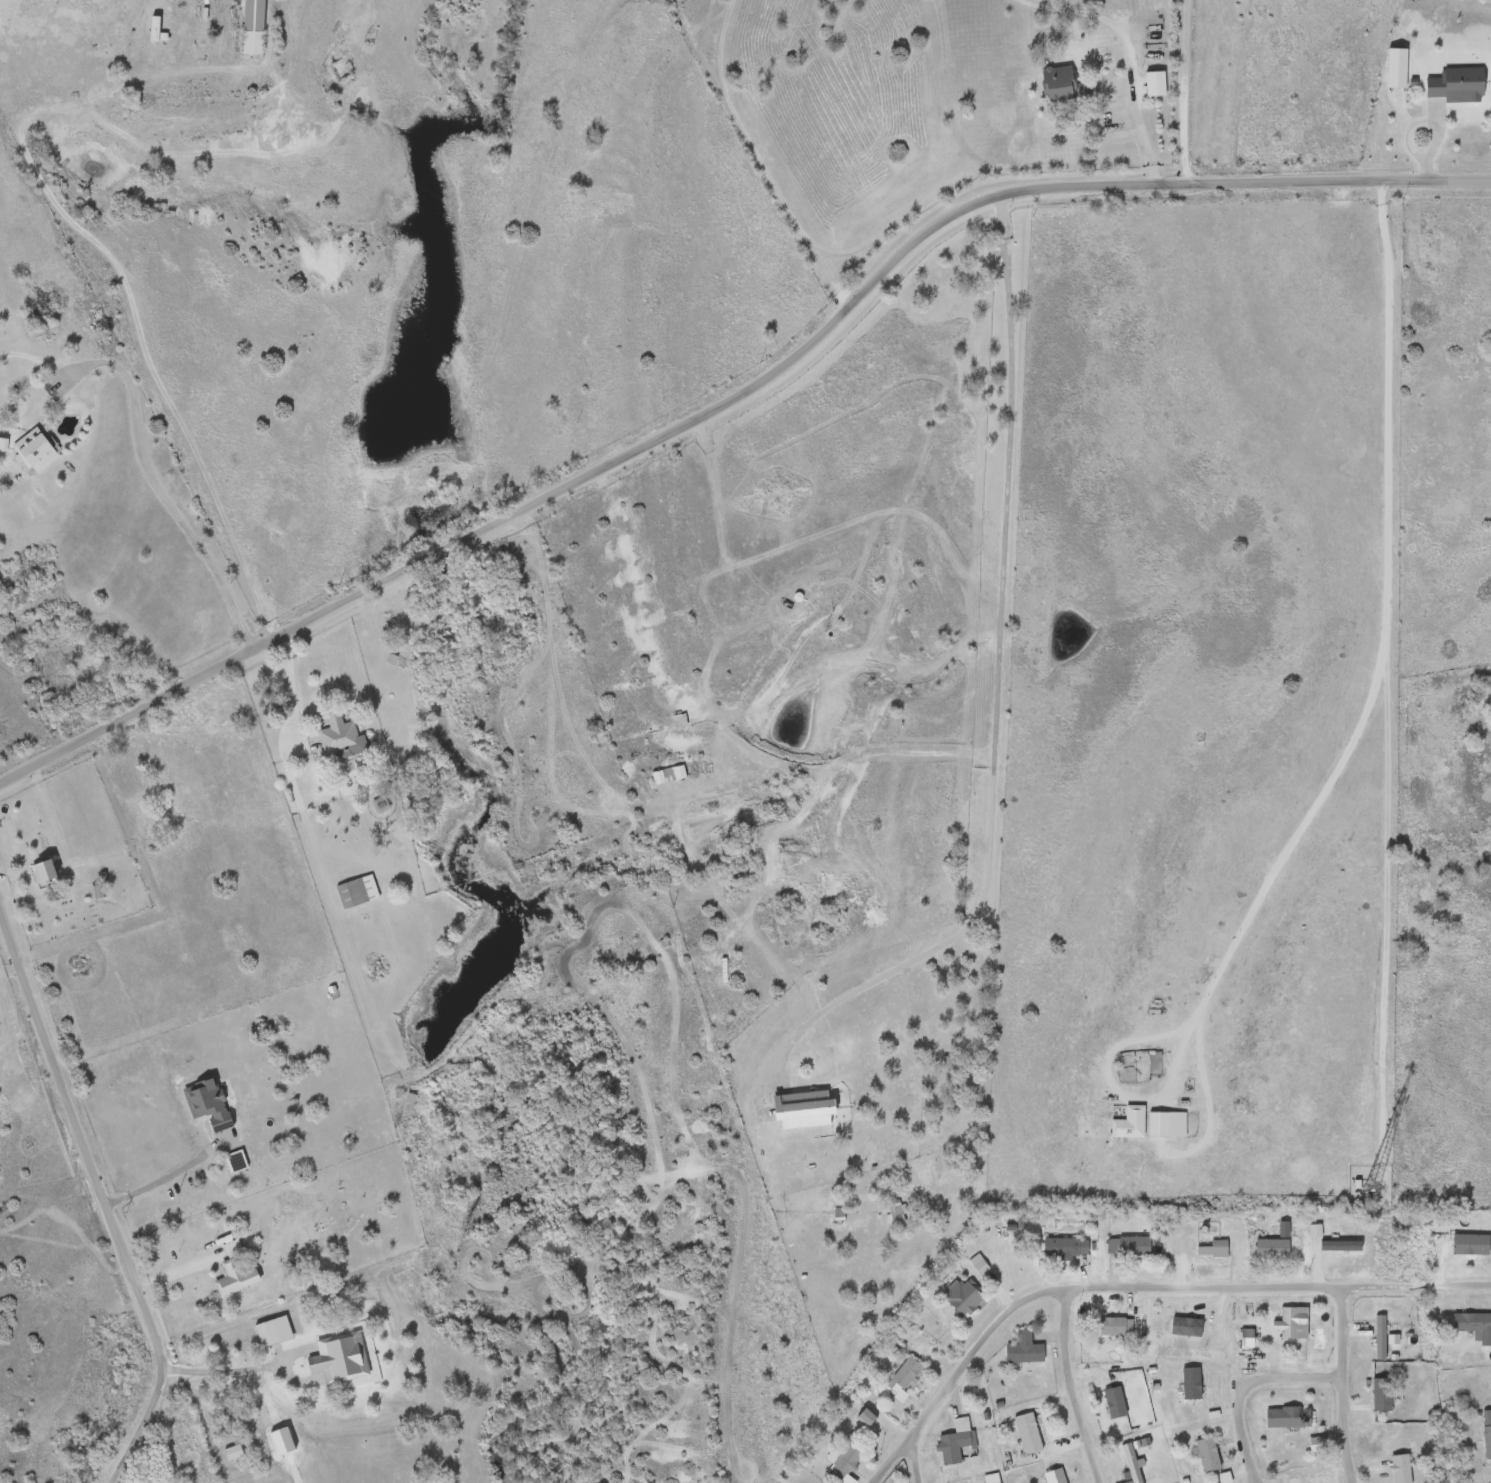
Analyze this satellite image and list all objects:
building: (252, 27)
building: (154, 29)
road: (1125, 75)
building: (1155, 82)
building: (1063, 83)
building: (1458, 83)
road: (1186, 91)
road: (118, 265)
road: (736, 396)
building: (32, 448)
road: (137, 456)
road: (1382, 657)
road: (989, 684)
road: (292, 689)
building: (340, 737)
building: (668, 773)
road: (45, 806)
building: (43, 872)
building: (356, 891)
road: (1383, 909)
road: (7, 965)
road: (1105, 1048)
building: (949, 1062)
building: (803, 1108)
building: (1129, 1121)
building: (1167, 1122)
road: (166, 1175)
road: (98, 1203)
building: (895, 1214)
building: (1336, 1242)
building: (1471, 1242)
building: (1128, 1244)
building: (1065, 1246)
building: (1268, 1246)
building: (1213, 1247)
building: (234, 1271)
road: (1134, 1285)
building: (962, 1296)
building: (1289, 1321)
building: (1115, 1324)
building: (1186, 1325)
building: (1474, 1325)
building: (273, 1330)
building: (1380, 1335)
building: (1024, 1347)
building: (339, 1356)
road: (217, 1364)
building: (905, 1373)
building: (1191, 1381)
road: (1239, 1384)
road: (1065, 1385)
road: (1339, 1385)
building: (1381, 1393)
building: (1115, 1401)
building: (1288, 1415)
building: (1028, 1432)
building: (955, 1439)
building: (1487, 1439)
building: (1208, 1453)
road: (909, 1459)
building: (1131, 1462)
building: (844, 1464)
building: (1400, 1468)
building: (1055, 1475)
building: (991, 1477)

